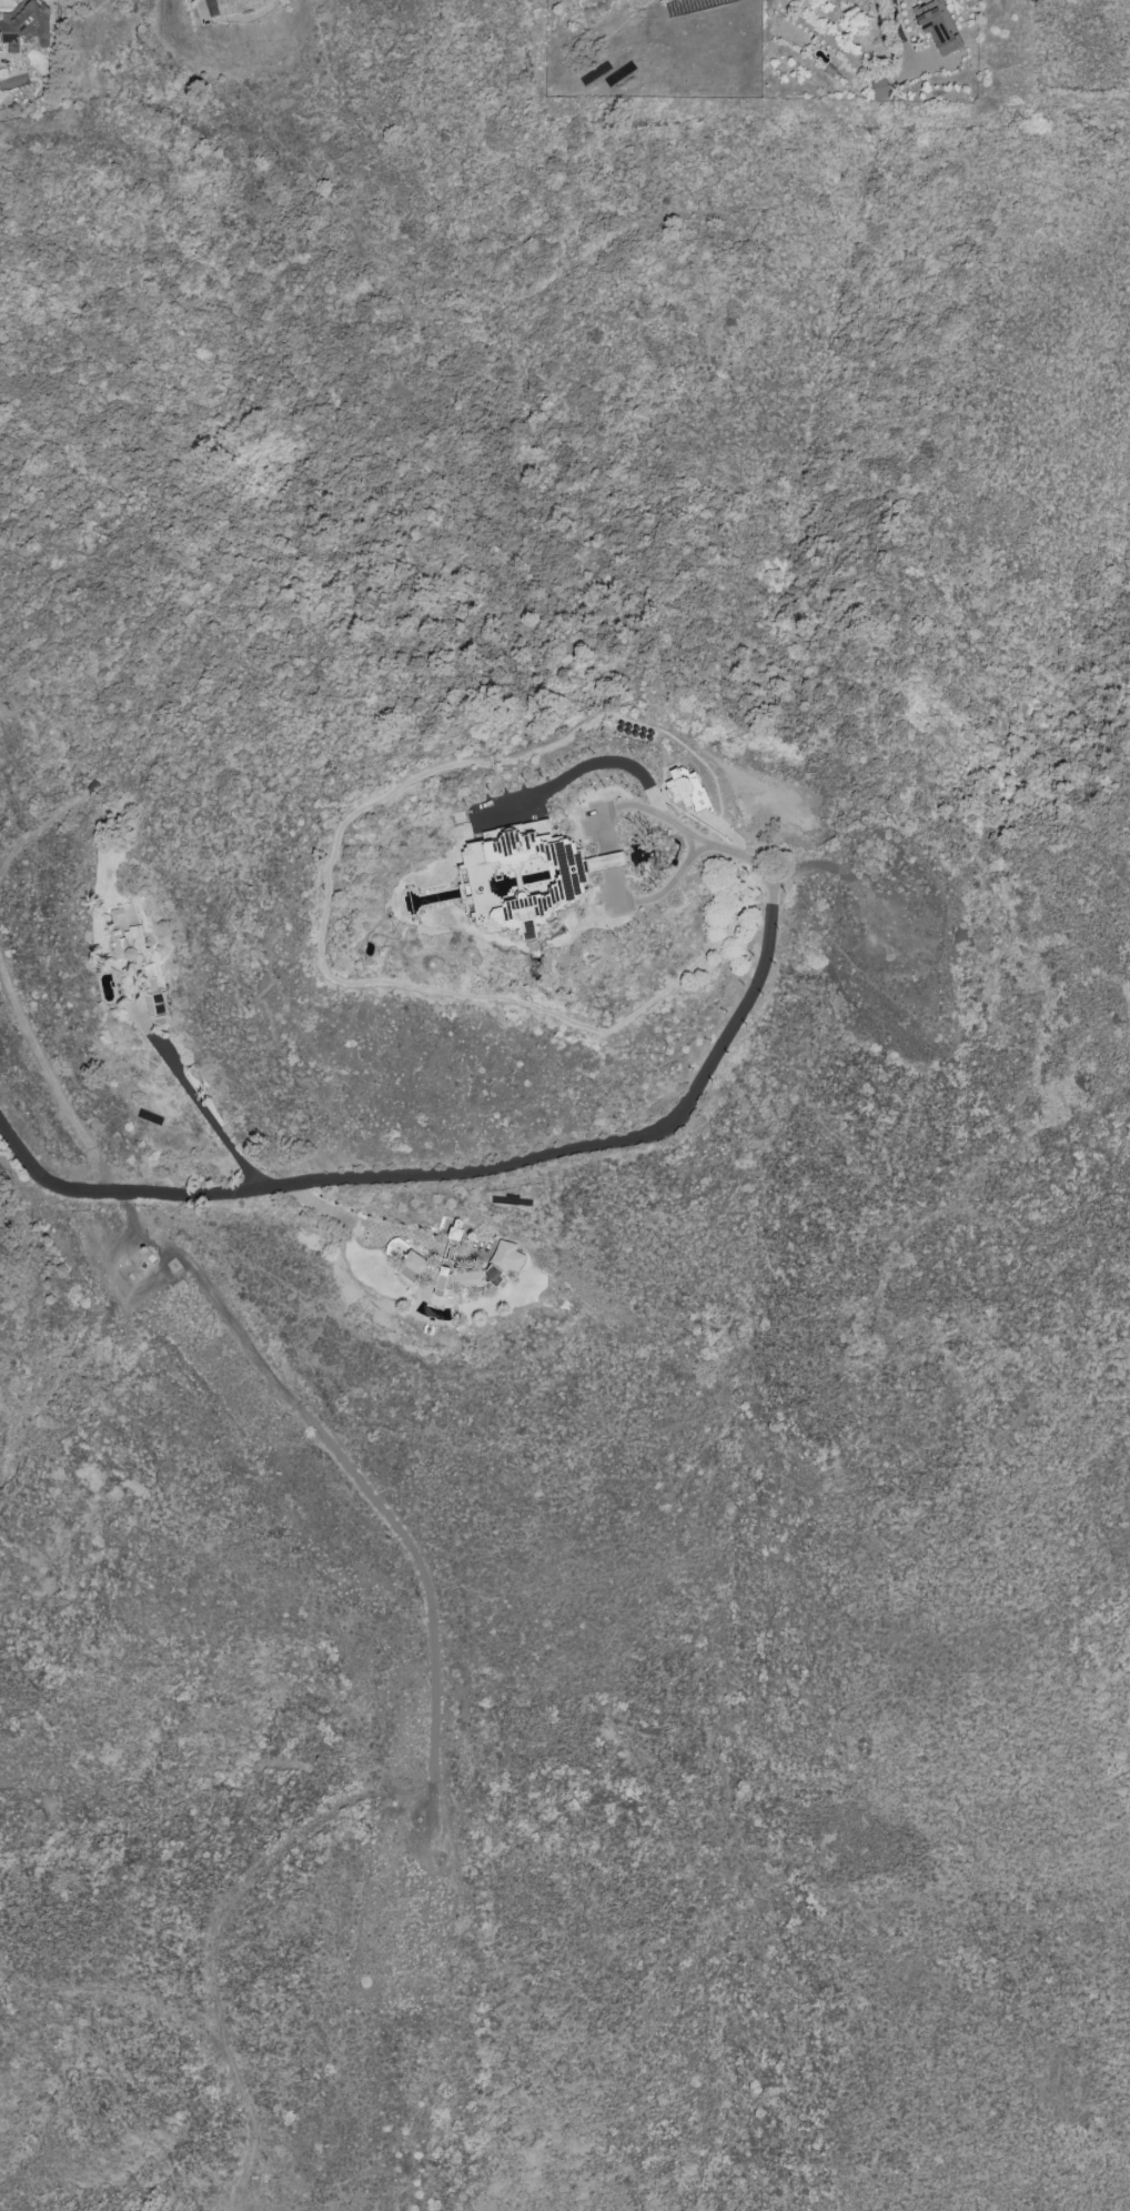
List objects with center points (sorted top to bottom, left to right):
building: (238, 6)
building: (937, 24)
building: (23, 27)
road: (897, 27)
building: (687, 788)
road: (656, 806)
road: (32, 831)
building: (523, 878)
road: (613, 880)
building: (129, 938)
road: (196, 1101)
road: (454, 1175)
road: (334, 1209)
building: (506, 1256)
building: (464, 1277)
road: (253, 1353)
road: (212, 1932)
road: (114, 1990)

